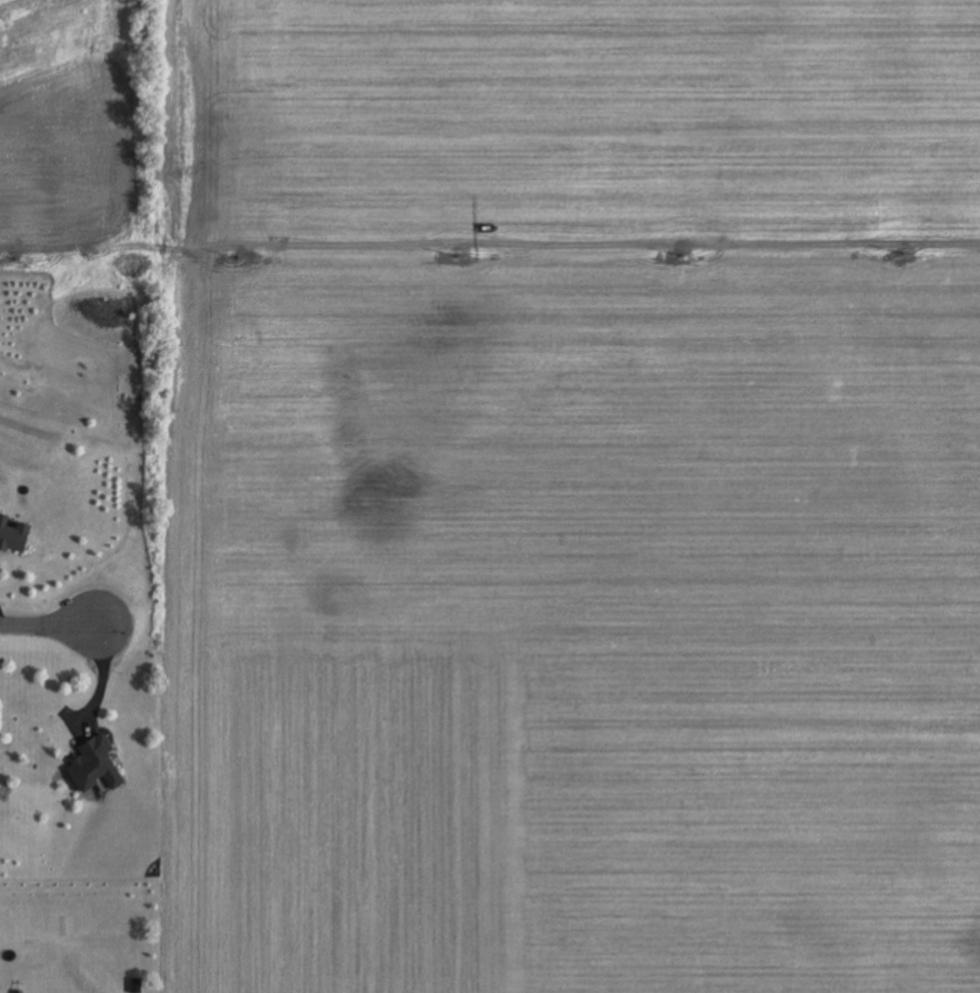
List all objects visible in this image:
building: (13, 535)
road: (49, 622)
building: (95, 766)

